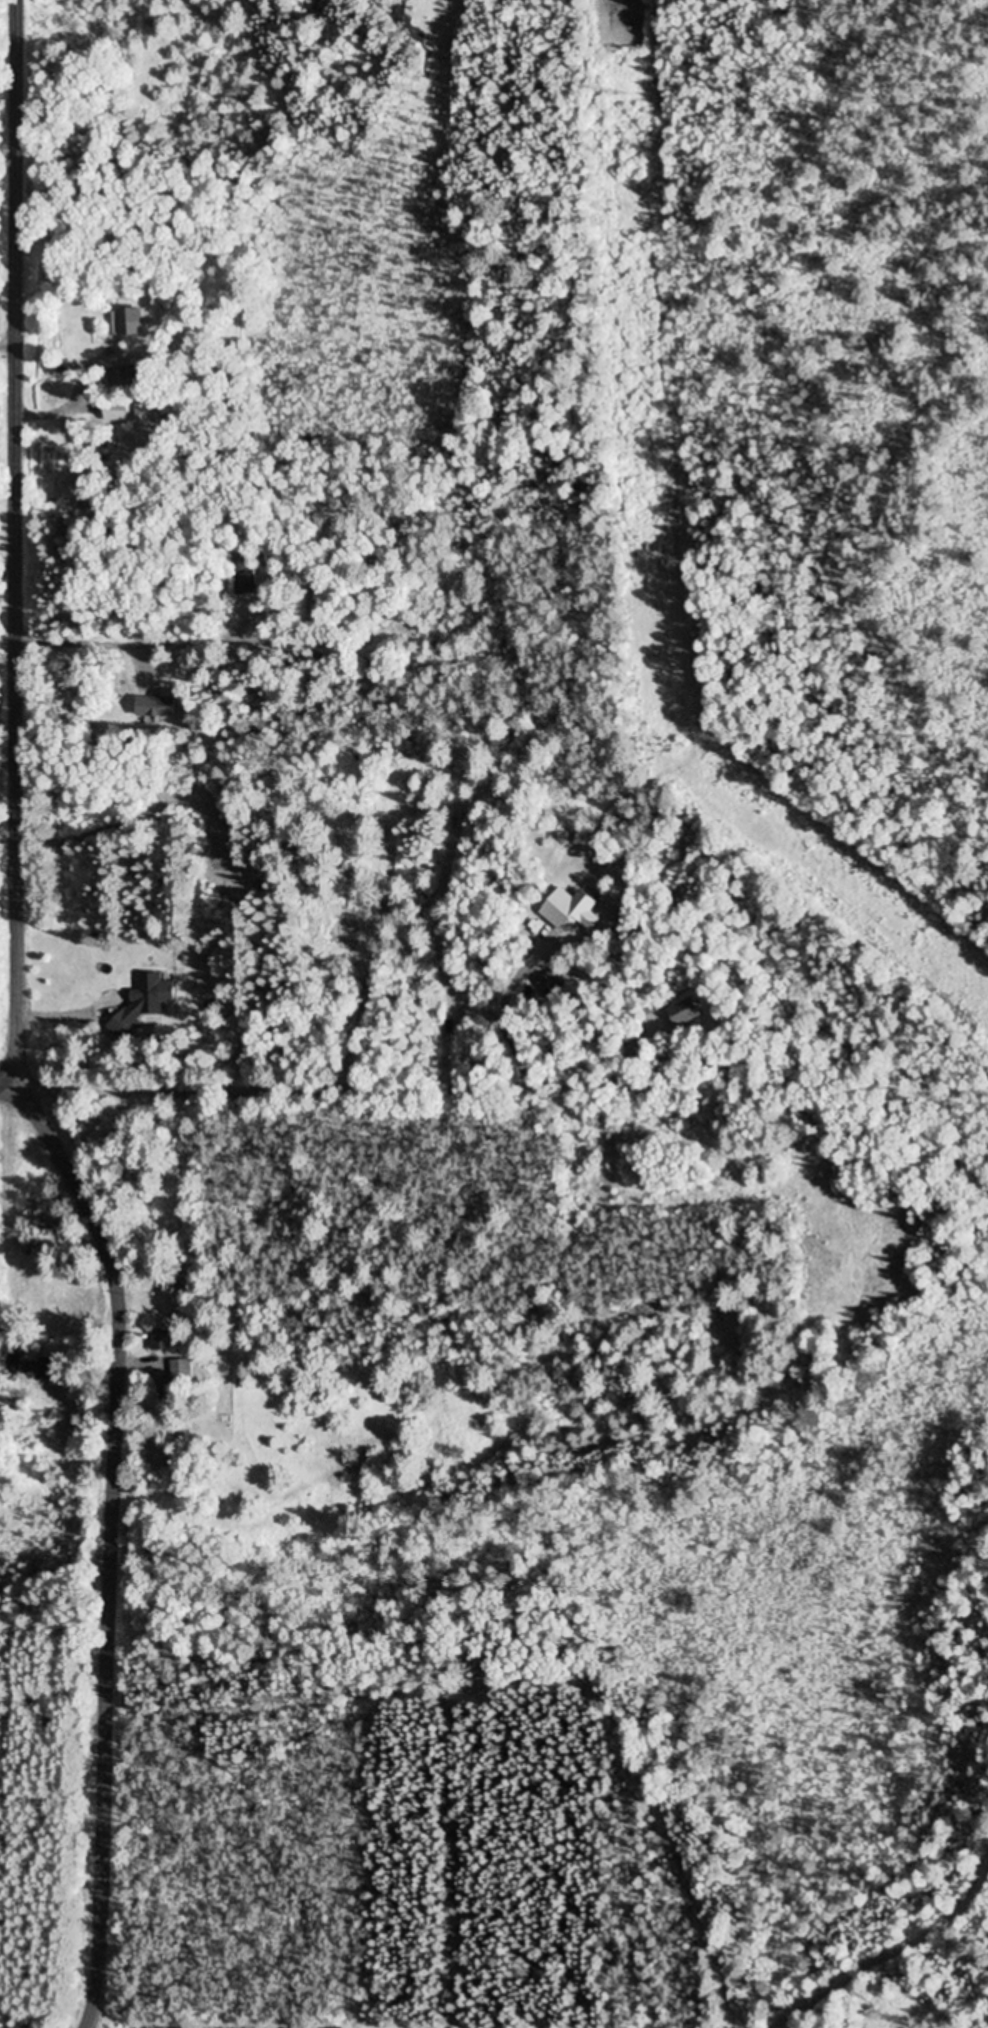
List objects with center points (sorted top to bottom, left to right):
power tower: (627, 96)
building: (127, 324)
building: (115, 412)
building: (154, 707)
power tower: (672, 743)
building: (570, 909)
building: (138, 1004)
building: (685, 1012)
road: (21, 1025)
road: (509, 1071)
road: (15, 1090)
building: (170, 1281)
building: (160, 1342)
building: (11, 1364)
building: (39, 1369)
building: (180, 1372)

